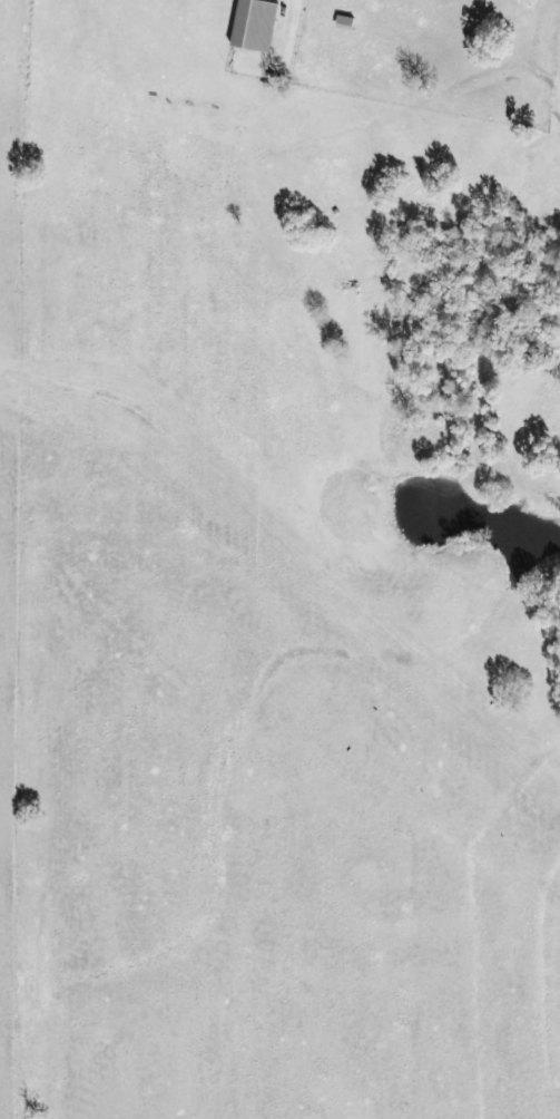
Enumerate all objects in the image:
building: (256, 27)

